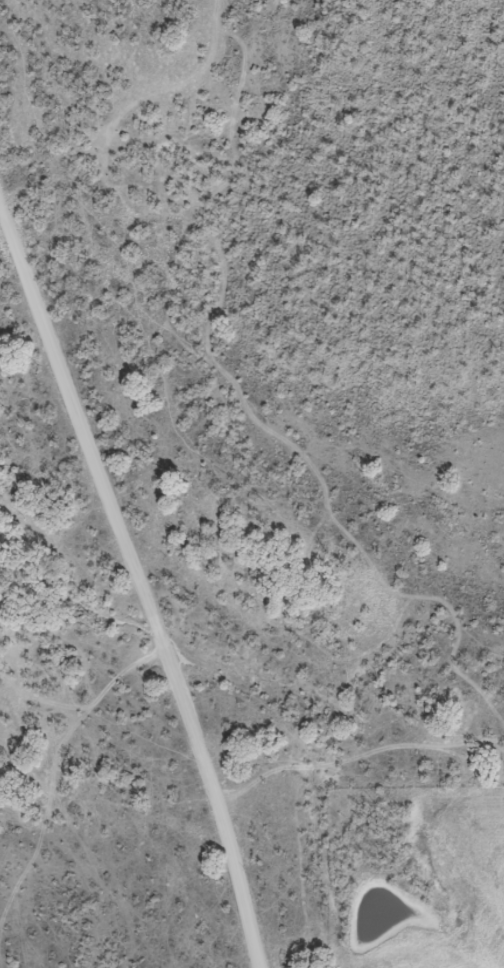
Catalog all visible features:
road: (140, 584)

